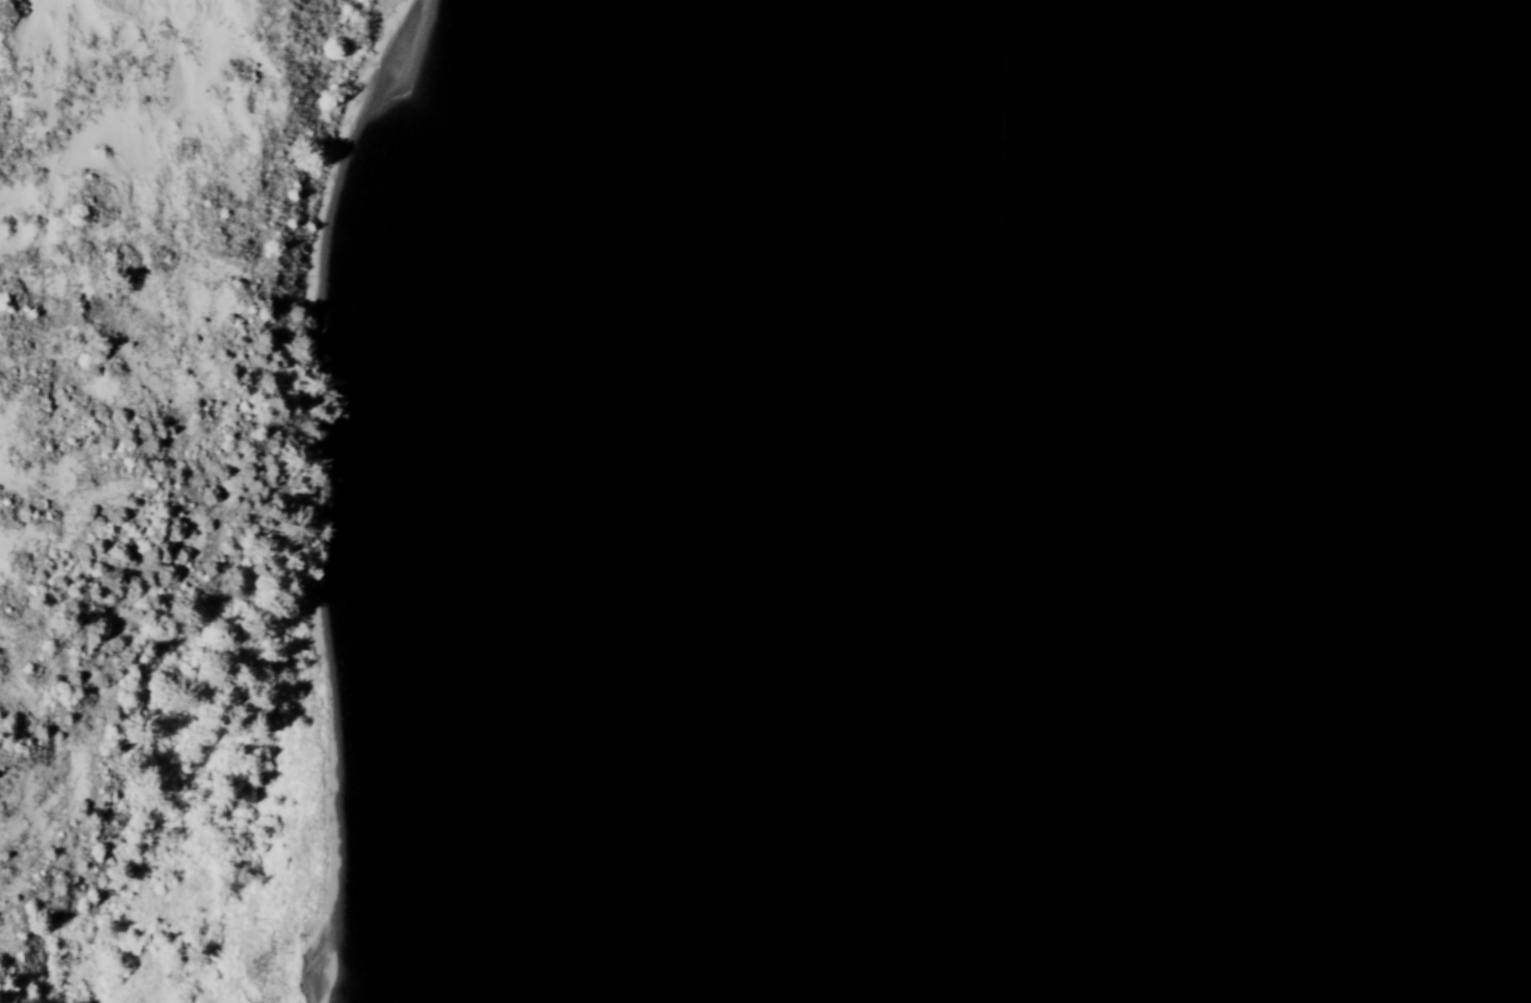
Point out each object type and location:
river: (1380, 511)

